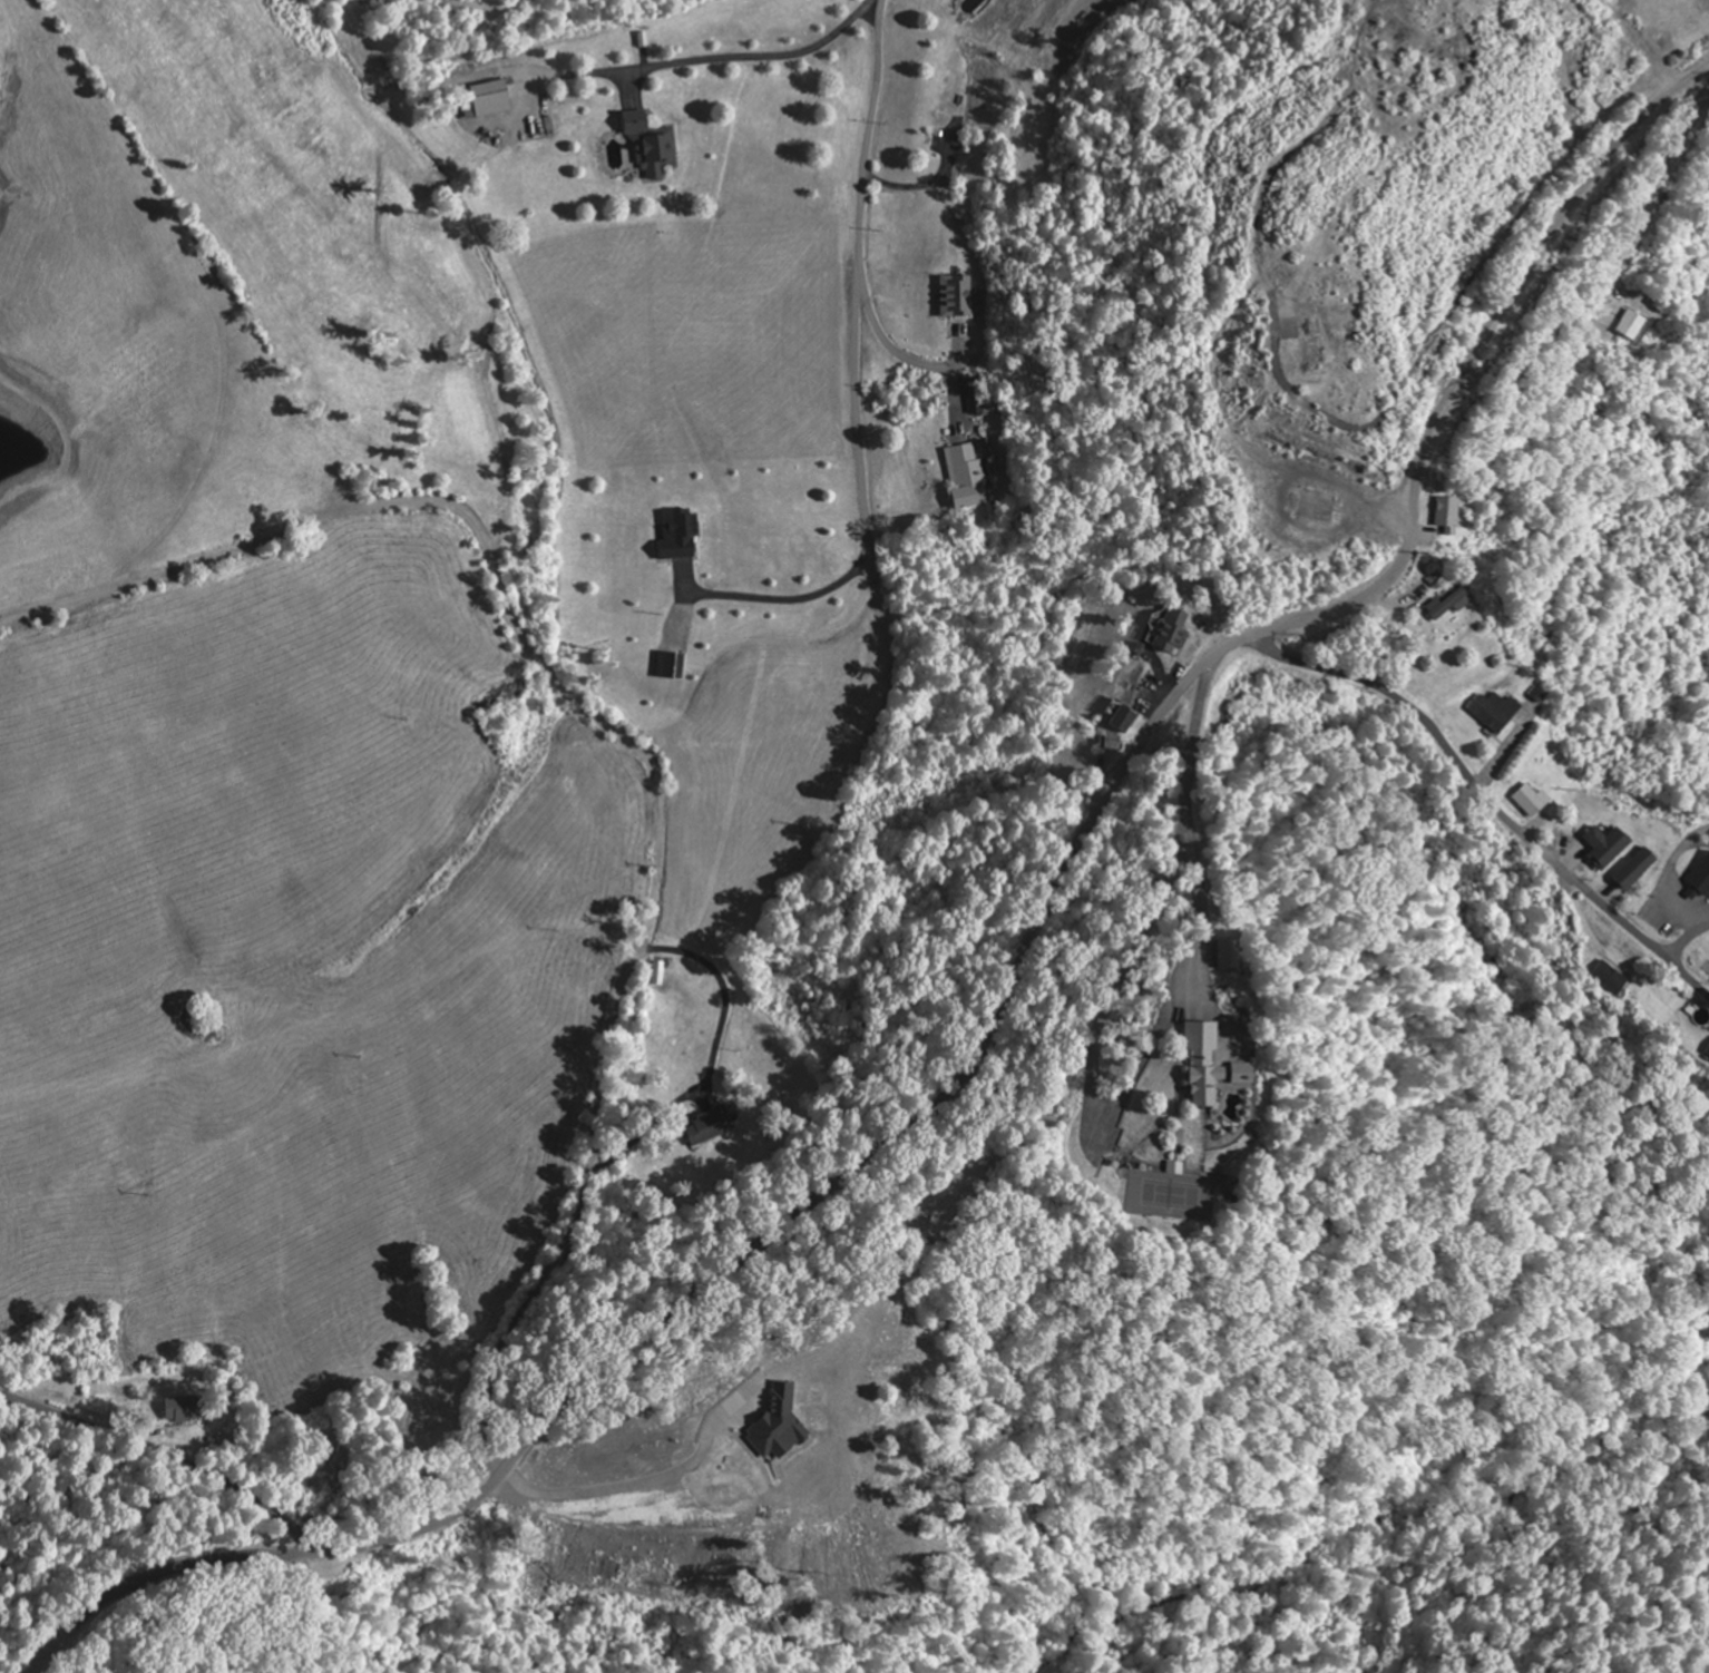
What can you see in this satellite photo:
building: (492, 100)
building: (655, 145)
road: (1649, 195)
road: (862, 199)
building: (959, 297)
building: (1632, 325)
building: (968, 477)
building: (1449, 516)
building: (683, 535)
building: (1449, 605)
building: (1171, 630)
building: (673, 666)
building: (1497, 711)
building: (1126, 720)
road: (629, 746)
road: (1486, 794)
building: (1534, 799)
building: (1609, 845)
building: (1638, 868)
building: (1700, 880)
road: (1678, 917)
road: (1686, 939)
building: (1236, 951)
building: (662, 972)
building: (1612, 978)
road: (1004, 1005)
building: (1708, 1053)
building: (1220, 1065)
building: (715, 1124)
building: (1179, 1167)
building: (184, 1409)
building: (780, 1425)
road: (165, 1449)

